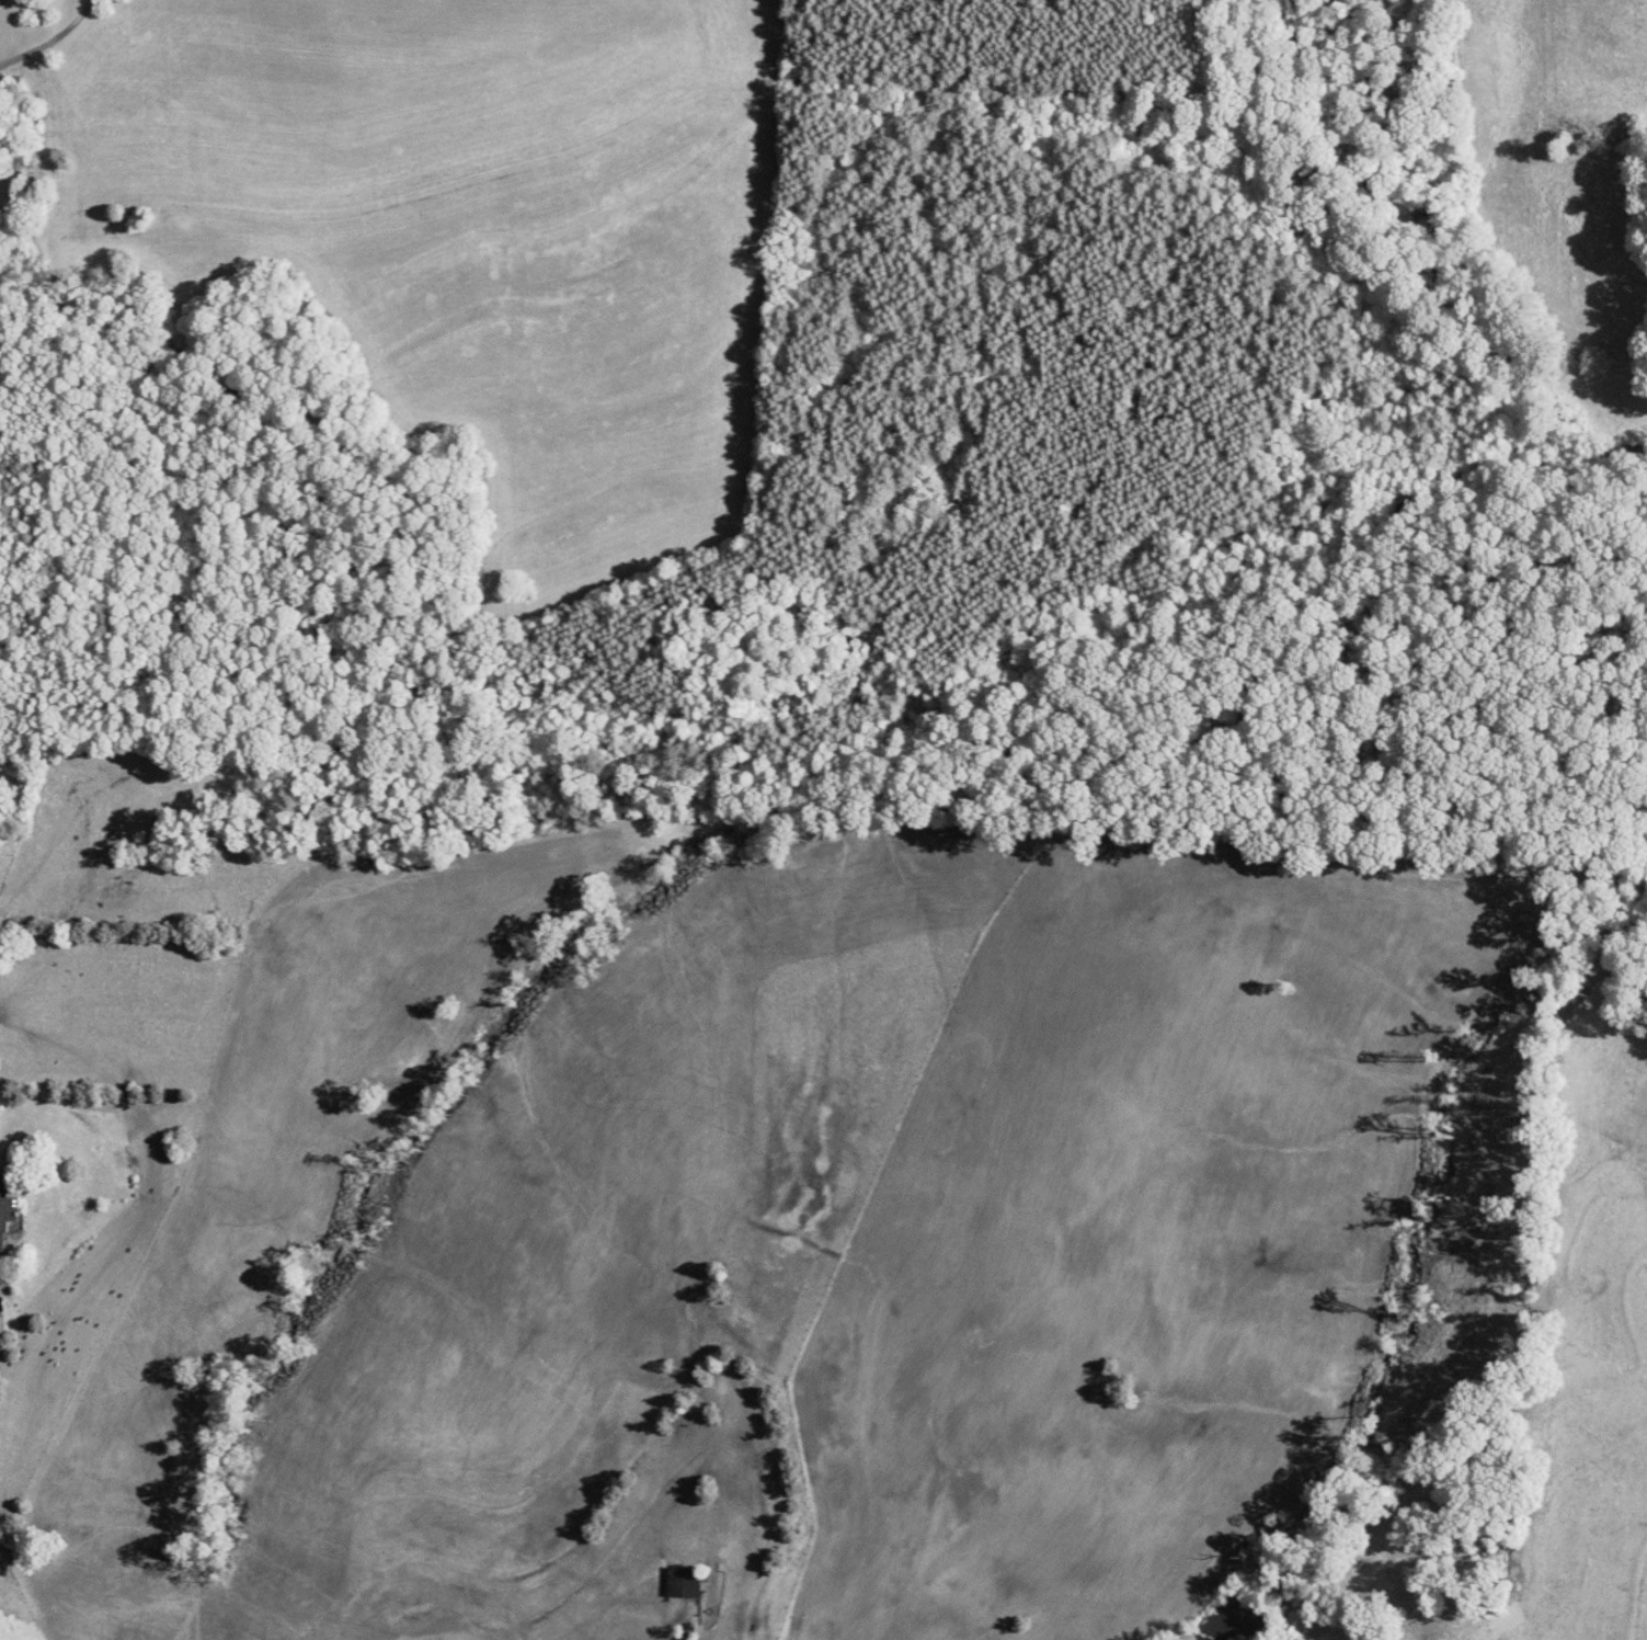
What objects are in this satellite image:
road: (32, 43)
building: (7, 1216)
building: (686, 1581)

